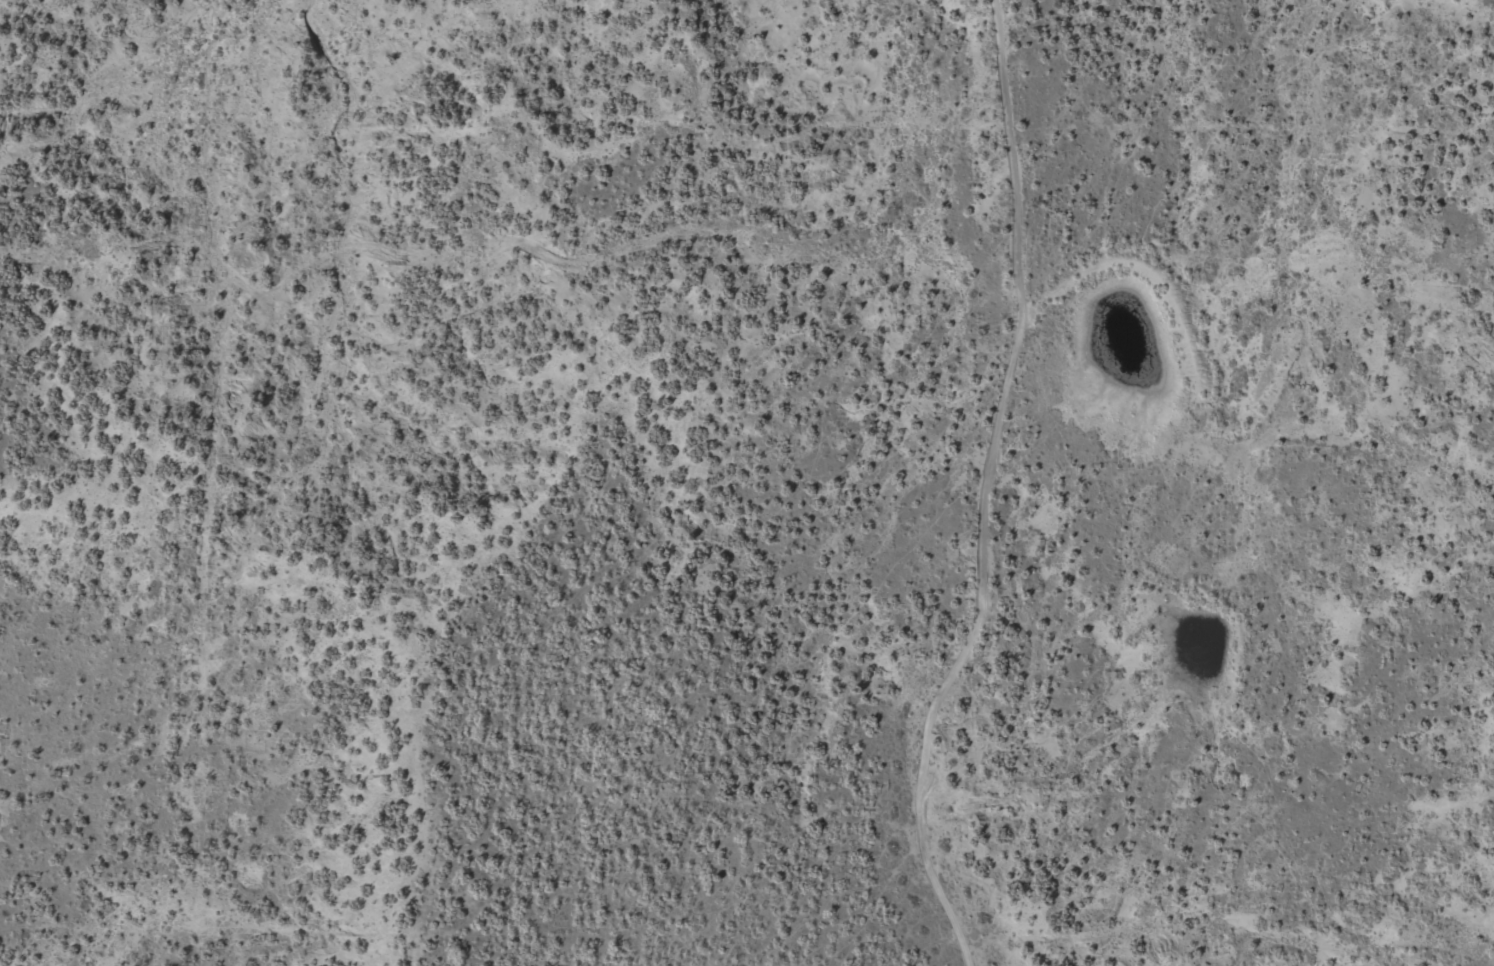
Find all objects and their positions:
road: (964, 487)

